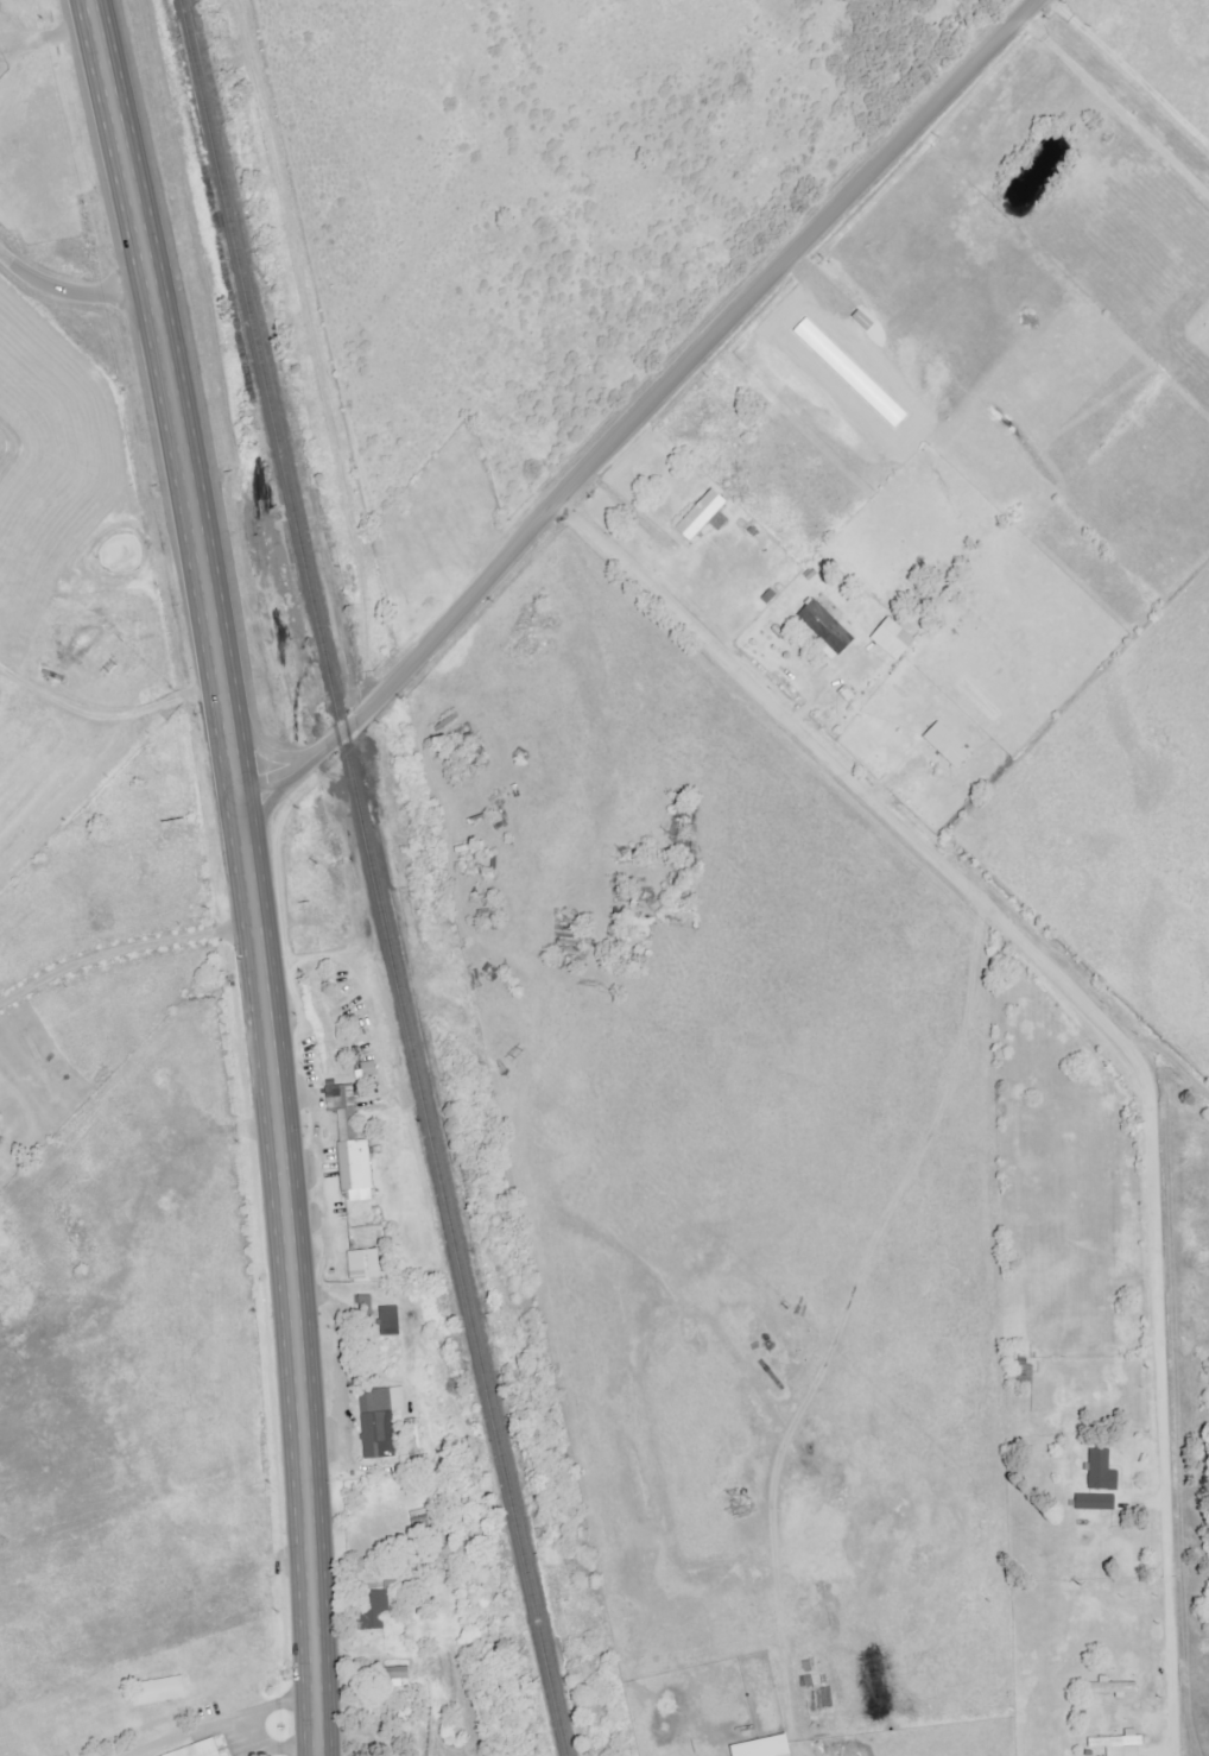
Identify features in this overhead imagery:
road: (968, 25)
road: (1126, 70)
road: (1115, 105)
road: (71, 315)
road: (311, 340)
building: (855, 373)
road: (165, 409)
road: (644, 417)
building: (705, 514)
park: (430, 531)
building: (827, 625)
building: (898, 639)
power tower: (102, 662)
building: (952, 745)
road: (854, 790)
railway: (366, 878)
road: (122, 950)
power tower: (517, 1053)
road: (1175, 1108)
road: (32, 1125)
building: (352, 1138)
road: (316, 1141)
building: (368, 1264)
road: (284, 1287)
power tower: (774, 1302)
building: (393, 1320)
road: (841, 1321)
road: (1152, 1417)
building: (382, 1421)
building: (416, 1436)
building: (1099, 1471)
building: (1091, 1502)
power tower: (1056, 1568)
building: (384, 1604)
building: (404, 1675)
building: (1109, 1688)
building: (164, 1691)
road: (1185, 1738)
building: (1116, 1744)
building: (771, 1746)
building: (200, 1749)

